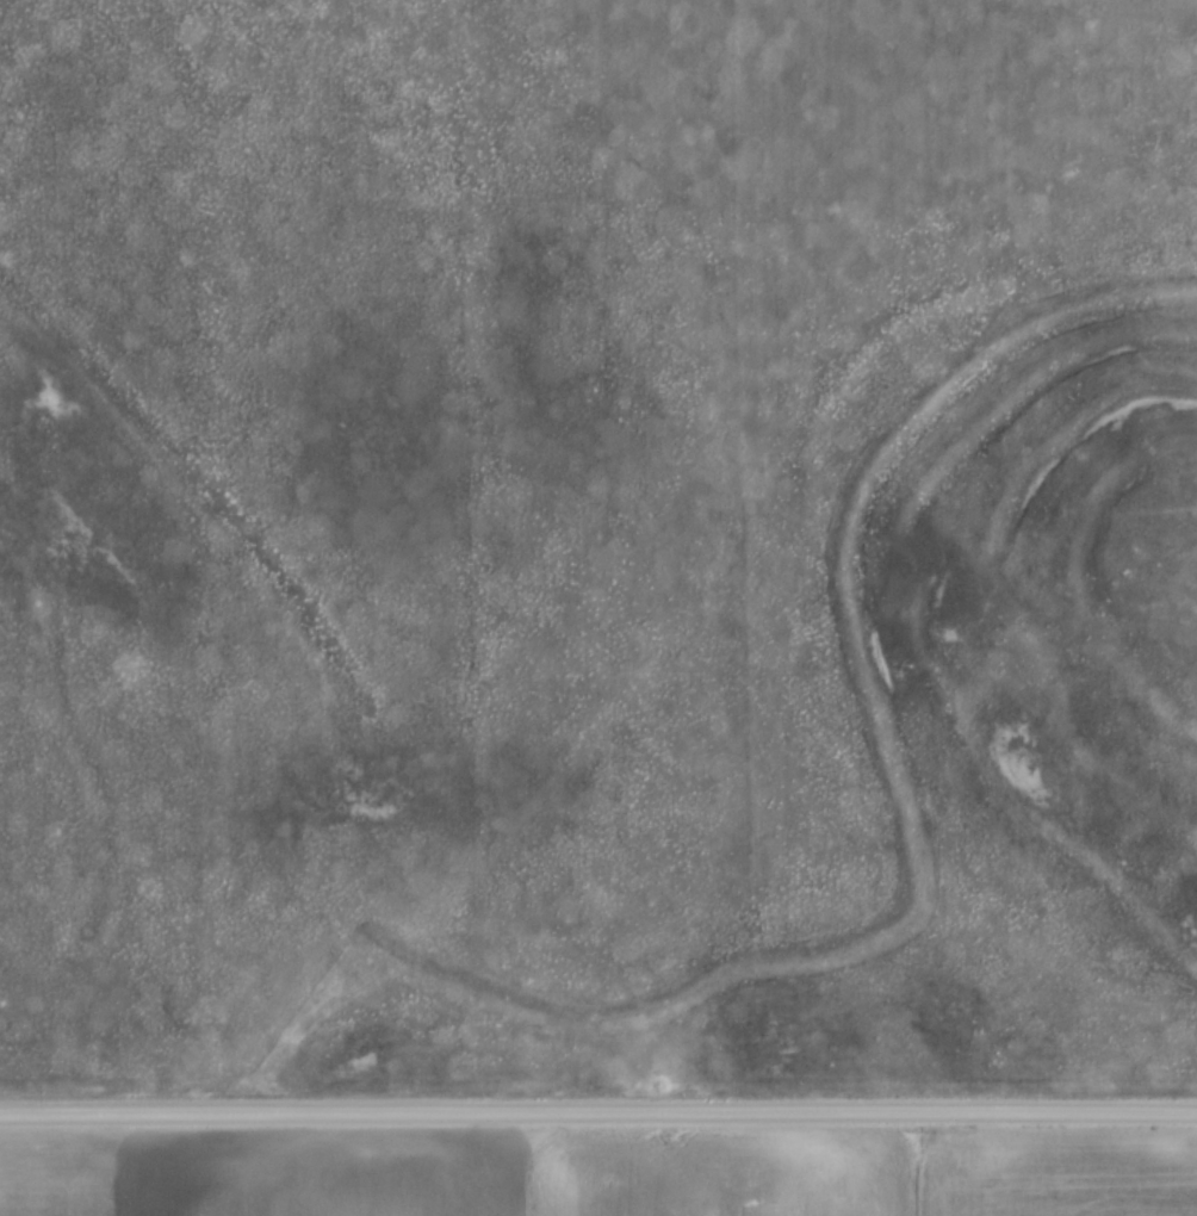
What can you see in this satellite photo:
road: (597, 1109)

